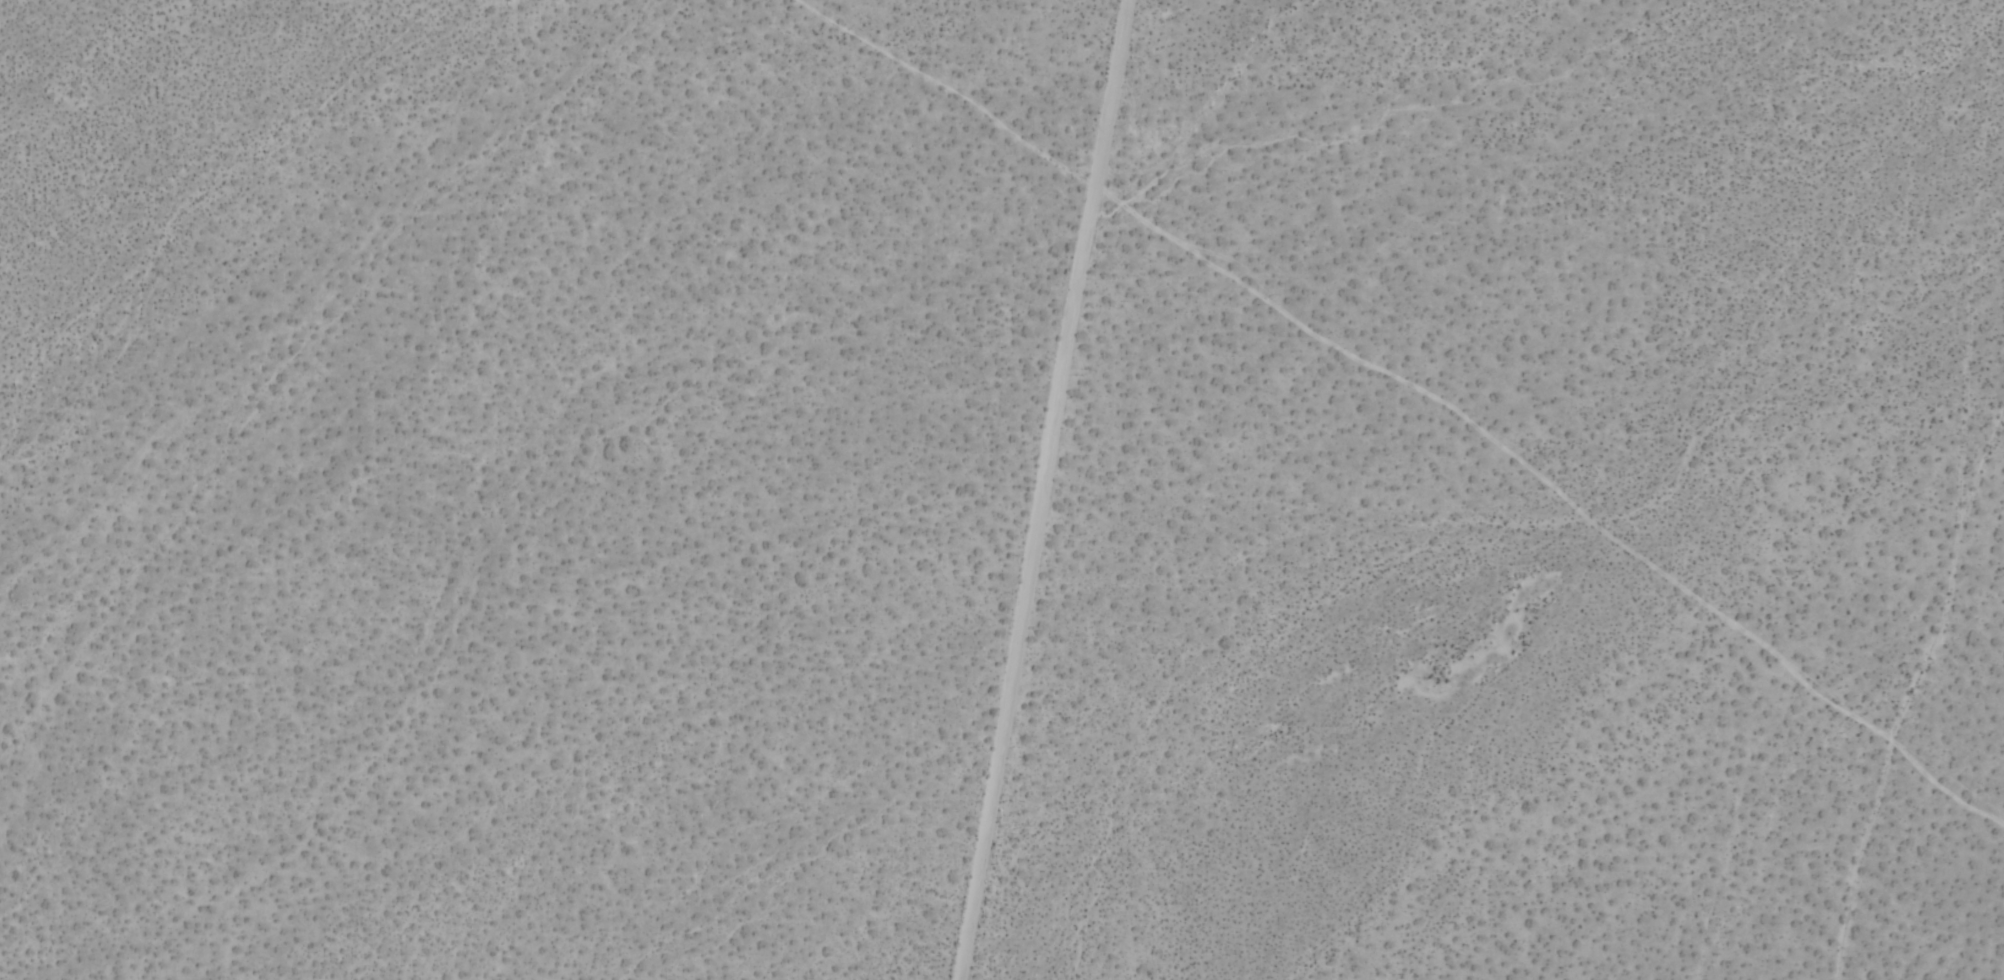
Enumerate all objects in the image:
road: (1041, 490)

